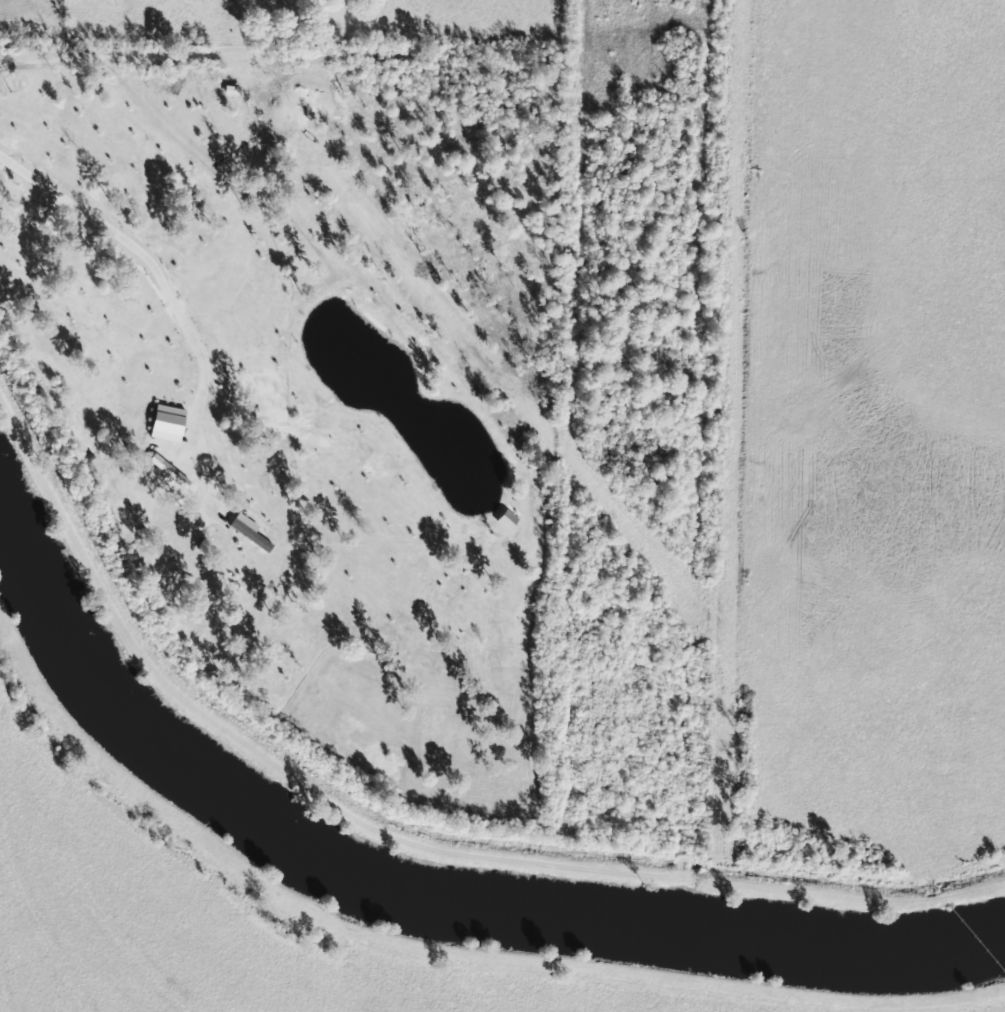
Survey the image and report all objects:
building: (167, 423)
building: (149, 458)

